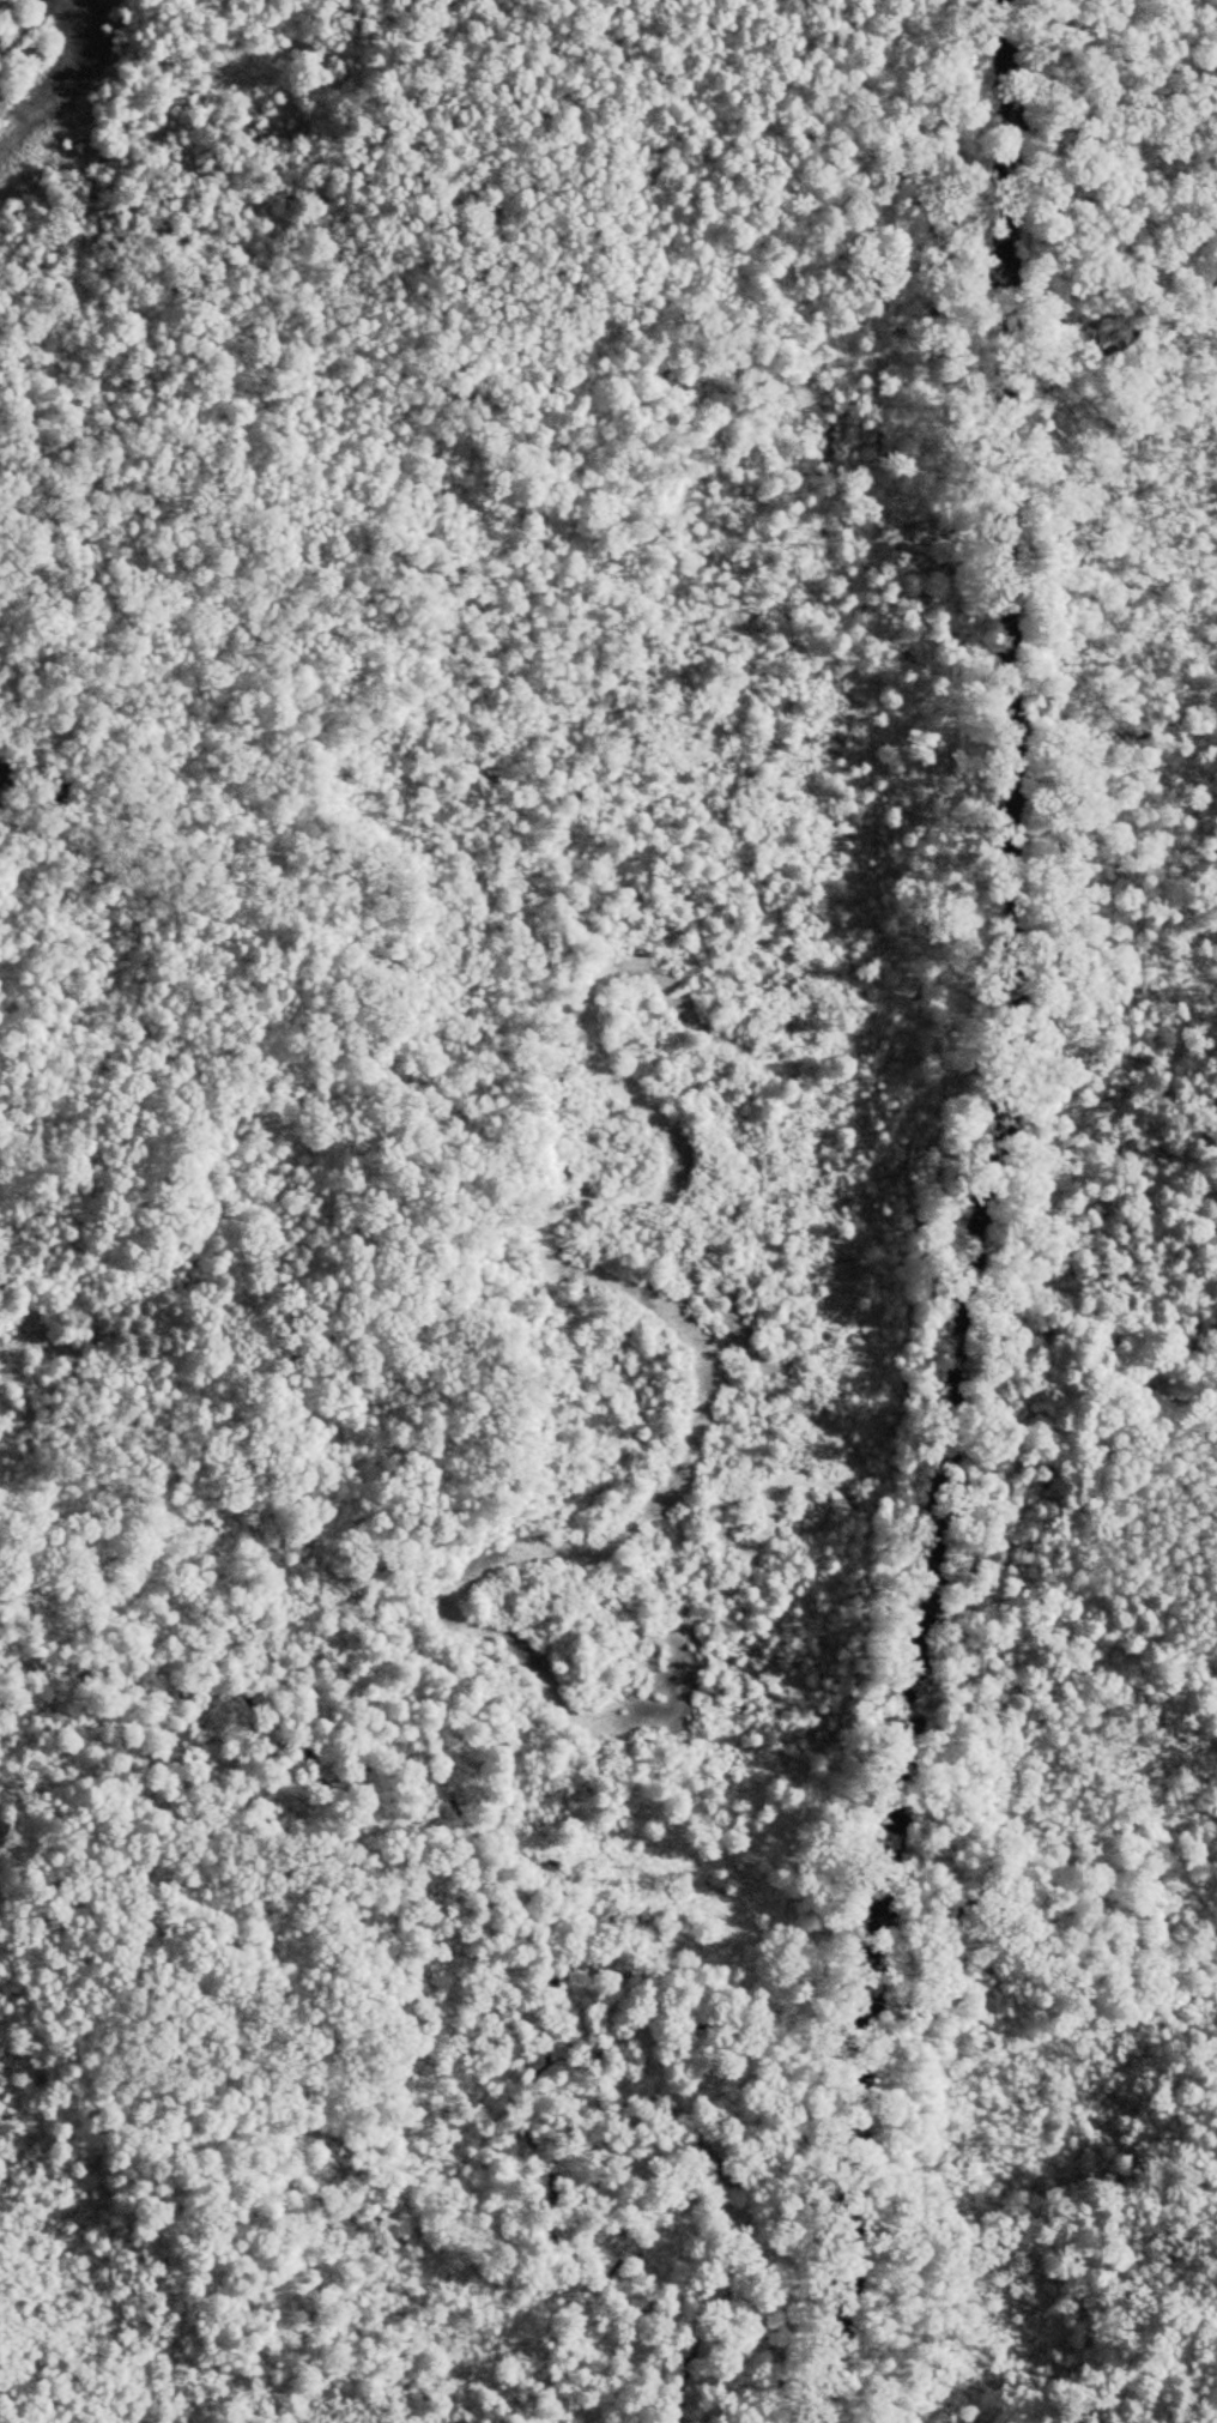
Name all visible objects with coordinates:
road: (1028, 282)
road: (1065, 1501)
road: (1100, 2271)

